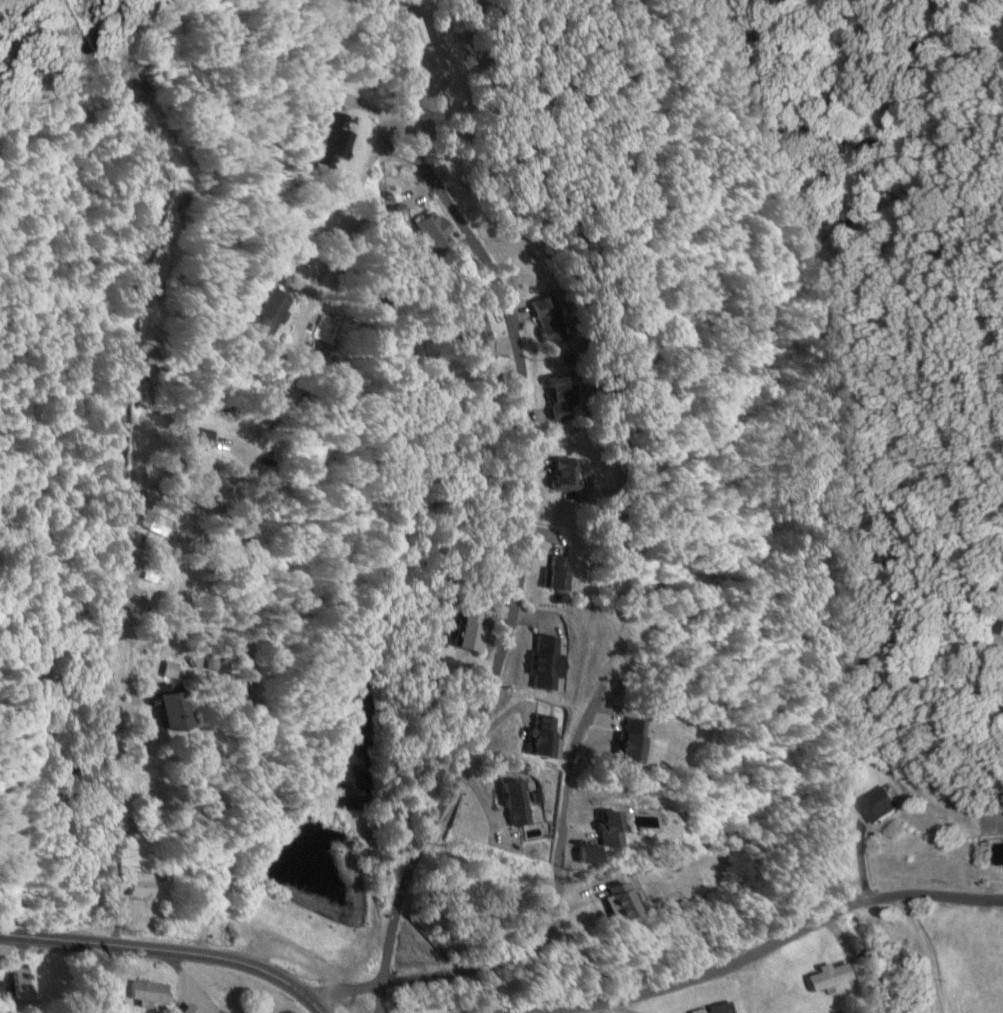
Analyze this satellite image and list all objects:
building: (332, 141)
road: (381, 144)
road: (418, 156)
building: (267, 310)
building: (549, 320)
building: (478, 340)
building: (561, 398)
building: (203, 457)
building: (566, 474)
road: (245, 536)
building: (562, 573)
road: (514, 592)
building: (472, 628)
building: (549, 663)
building: (177, 709)
building: (546, 735)
building: (638, 741)
building: (885, 804)
building: (522, 805)
building: (615, 829)
building: (143, 885)
park: (468, 904)
building: (630, 904)
road: (544, 936)
road: (168, 949)
road: (197, 949)
road: (743, 956)
building: (830, 976)
building: (24, 982)
building: (4, 989)
building: (152, 990)
building: (727, 1008)

